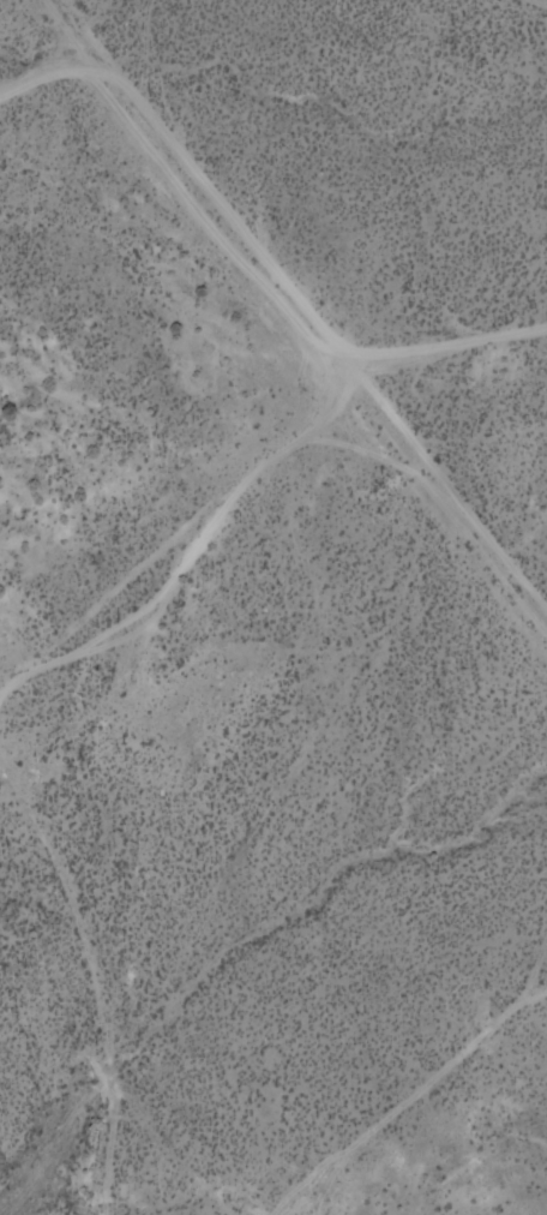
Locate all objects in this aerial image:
road: (539, 1)
road: (46, 80)
road: (303, 305)
road: (256, 480)
road: (83, 960)
road: (419, 1105)

